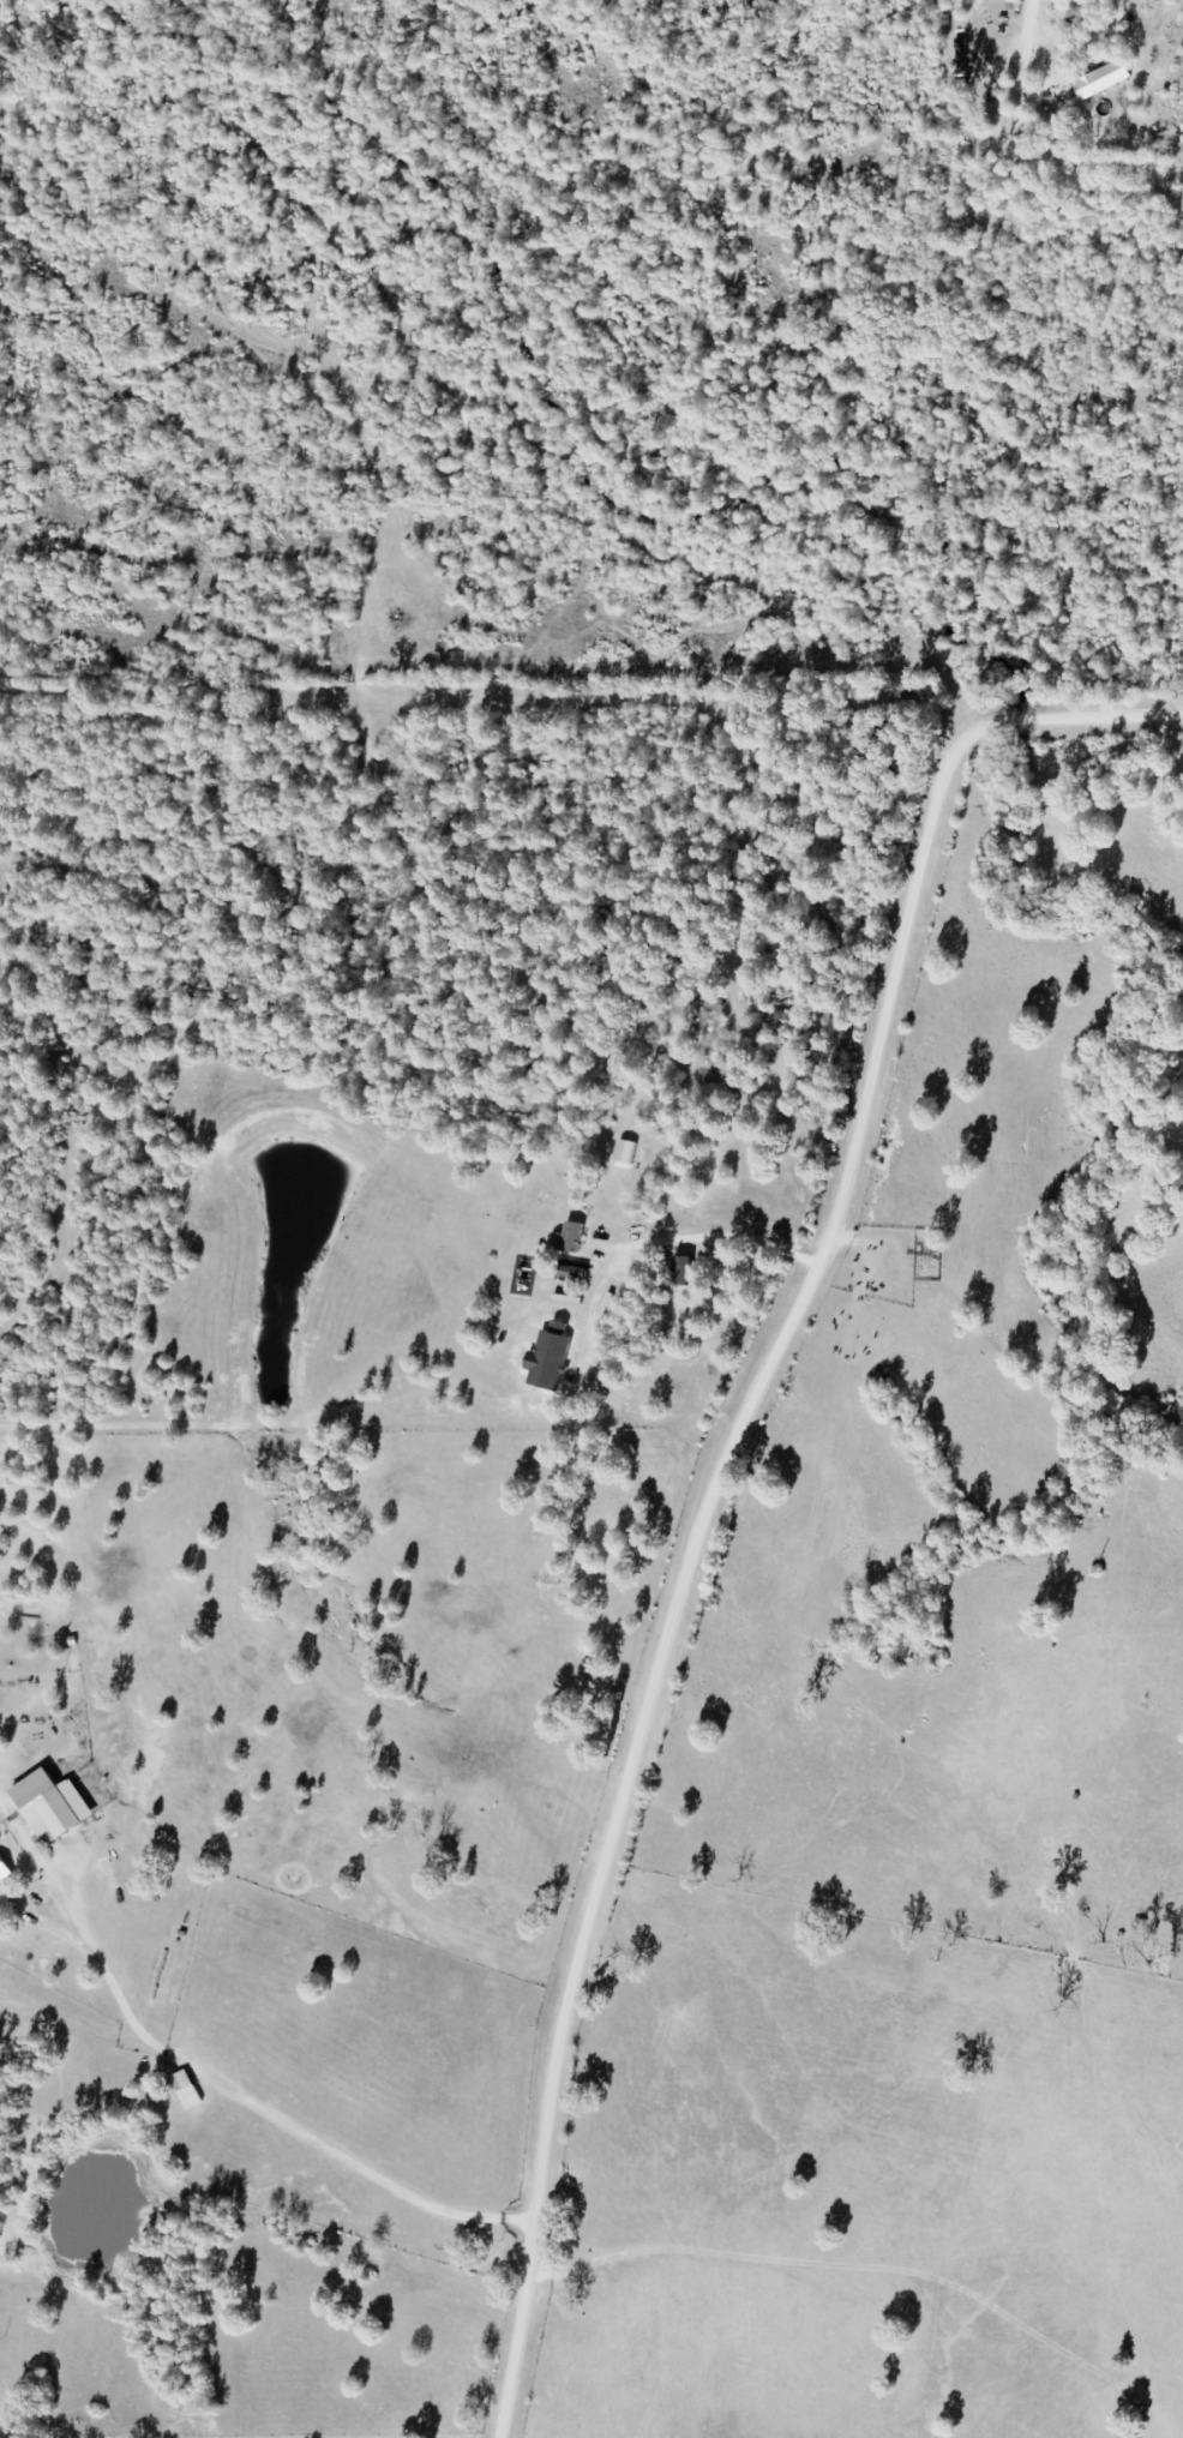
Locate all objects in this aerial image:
building: (1099, 79)
building: (596, 1269)
road: (723, 1467)
building: (4, 1869)
building: (186, 2089)
road: (254, 2102)

